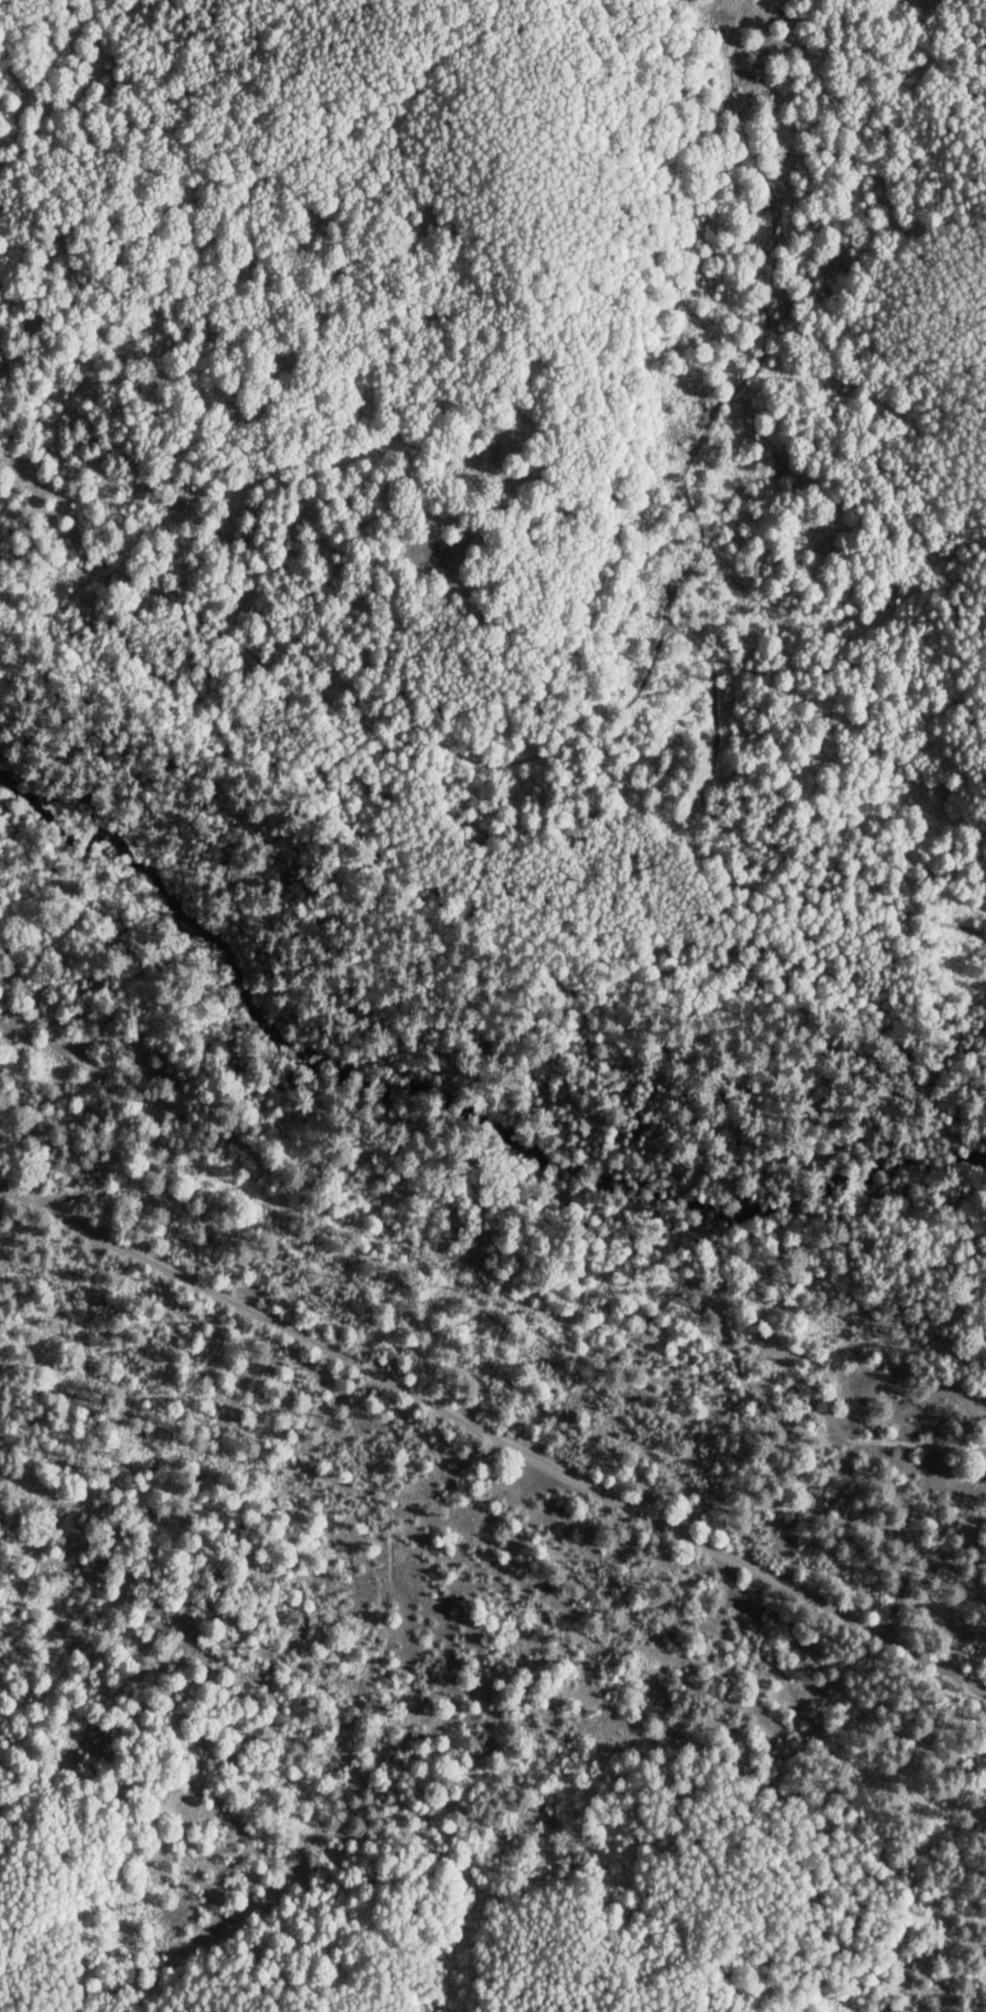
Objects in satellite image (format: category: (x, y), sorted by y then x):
road: (695, 551)
road: (324, 713)
road: (30, 993)
road: (133, 1057)
road: (728, 1344)
road: (491, 1433)
road: (80, 1437)
road: (981, 1454)
road: (924, 1549)

